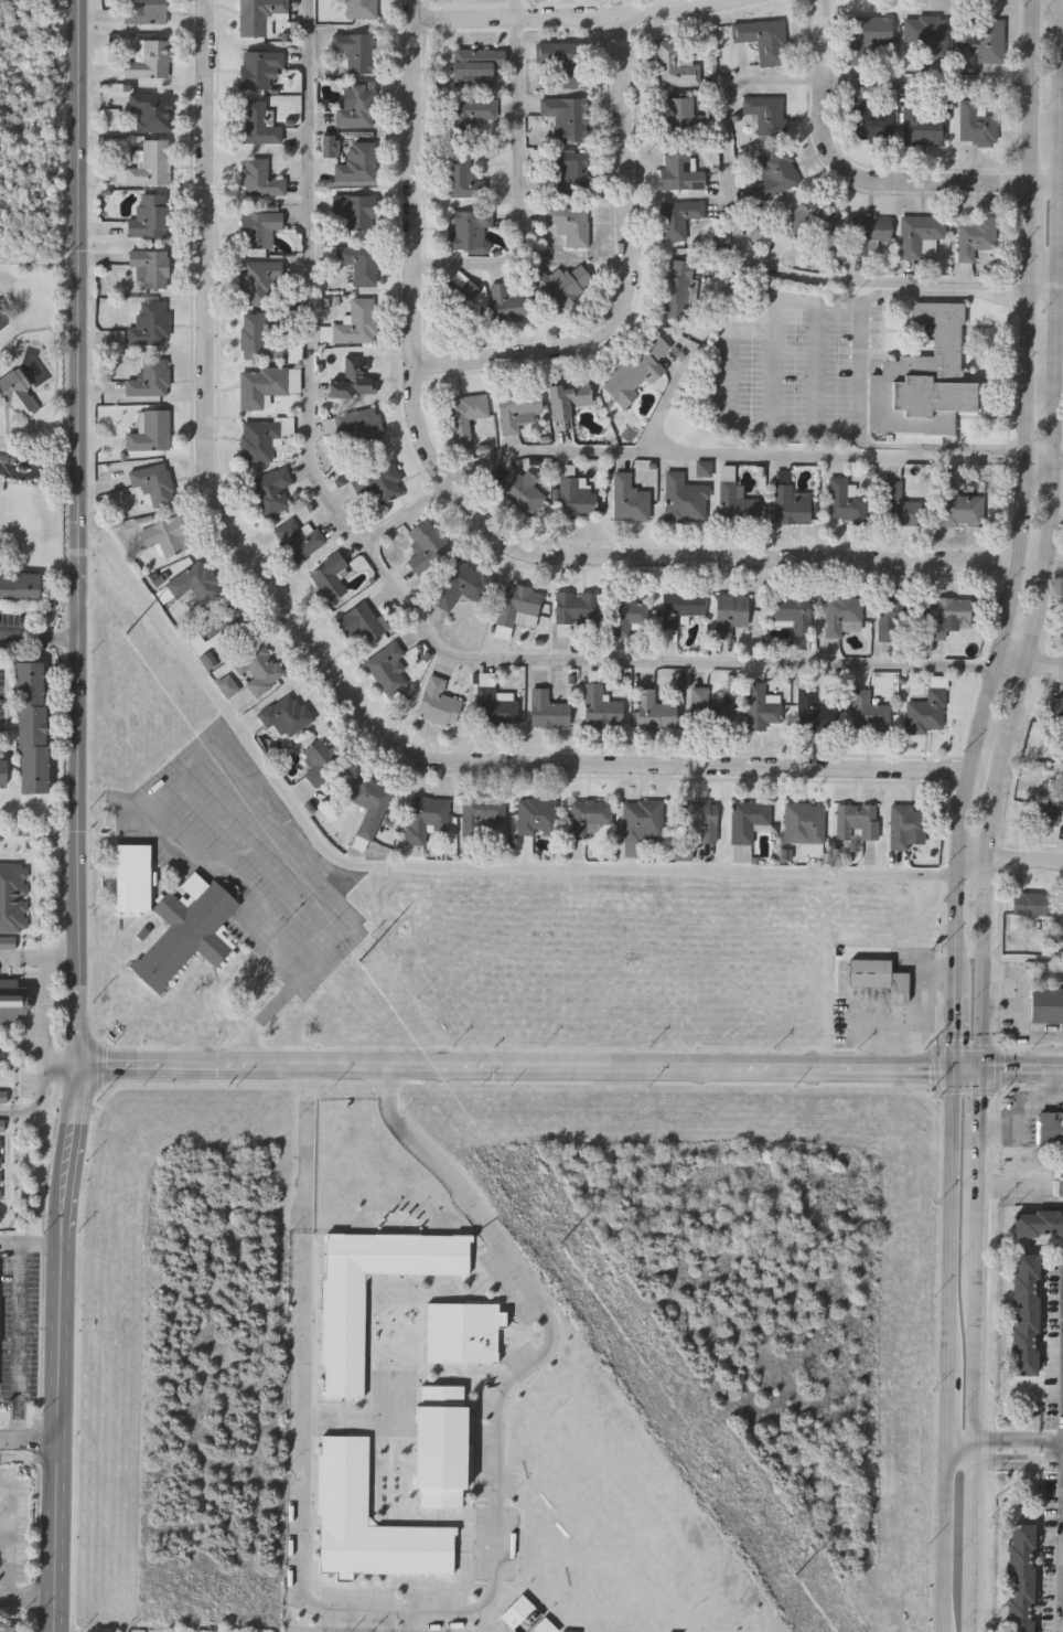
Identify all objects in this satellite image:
road: (1050, 0)
building: (359, 8)
building: (144, 11)
building: (259, 15)
road: (577, 15)
building: (866, 35)
building: (924, 36)
building: (981, 36)
building: (762, 39)
building: (355, 51)
building: (149, 60)
building: (559, 62)
building: (673, 64)
building: (474, 65)
building: (257, 66)
road: (932, 81)
road: (1034, 100)
building: (355, 106)
building: (150, 109)
building: (470, 111)
building: (677, 113)
building: (764, 114)
building: (565, 117)
building: (869, 120)
building: (257, 122)
building: (921, 124)
building: (975, 124)
building: (356, 162)
building: (150, 163)
building: (568, 172)
building: (678, 172)
building: (776, 173)
building: (461, 175)
building: (258, 178)
road: (524, 178)
road: (866, 181)
building: (354, 212)
building: (149, 215)
building: (677, 218)
building: (806, 218)
building: (569, 224)
building: (257, 228)
building: (469, 231)
building: (867, 234)
building: (919, 234)
building: (974, 236)
road: (1031, 236)
building: (356, 263)
road: (764, 265)
building: (149, 266)
road: (1046, 270)
road: (631, 275)
building: (259, 282)
building: (562, 285)
building: (675, 288)
building: (463, 295)
building: (508, 303)
building: (2, 318)
building: (356, 322)
building: (2, 323)
building: (150, 323)
building: (258, 339)
building: (635, 370)
road: (861, 370)
building: (924, 376)
building: (150, 378)
building: (352, 380)
building: (261, 384)
building: (20, 392)
building: (566, 399)
building: (517, 408)
building: (464, 414)
building: (354, 429)
building: (150, 430)
building: (261, 436)
road: (685, 457)
road: (4, 460)
road: (44, 466)
road: (1044, 472)
building: (153, 482)
building: (379, 482)
building: (519, 489)
building: (269, 491)
building: (575, 497)
building: (684, 498)
building: (629, 499)
building: (844, 501)
building: (734, 503)
building: (791, 504)
building: (900, 505)
building: (962, 509)
road: (484, 524)
building: (164, 536)
building: (297, 537)
building: (425, 545)
road: (1048, 555)
building: (326, 578)
building: (20, 583)
building: (189, 584)
building: (462, 584)
road: (404, 596)
building: (679, 606)
building: (575, 607)
building: (516, 608)
building: (793, 610)
building: (729, 612)
building: (626, 614)
building: (841, 614)
building: (946, 614)
building: (898, 618)
building: (361, 621)
building: (225, 626)
power tower: (118, 629)
road: (1006, 632)
road: (25, 637)
road: (65, 640)
road: (329, 659)
road: (1031, 665)
building: (386, 666)
building: (257, 668)
building: (437, 702)
building: (494, 706)
building: (600, 706)
building: (761, 706)
building: (1056, 708)
building: (547, 710)
building: (707, 710)
building: (654, 711)
building: (926, 711)
building: (867, 712)
building: (284, 714)
building: (819, 716)
building: (32, 725)
building: (319, 761)
building: (3, 774)
building: (369, 802)
road: (278, 812)
building: (1042, 812)
building: (481, 813)
road: (78, 815)
building: (537, 815)
building: (589, 815)
building: (426, 818)
building: (642, 819)
building: (697, 819)
building: (748, 819)
building: (856, 820)
building: (804, 822)
building: (904, 824)
road: (1010, 857)
road: (430, 867)
building: (132, 877)
building: (13, 897)
building: (1029, 903)
road: (249, 908)
building: (186, 934)
power tower: (344, 946)
road: (49, 953)
road: (10, 957)
building: (869, 971)
building: (899, 985)
building: (11, 1002)
road: (1021, 1002)
building: (1046, 1004)
road: (47, 1009)
road: (954, 1030)
road: (62, 1065)
traffic signals: (953, 1068)
road: (967, 1068)
traffic signals: (981, 1068)
road: (1021, 1068)
road: (514, 1069)
road: (42, 1097)
road: (1021, 1105)
road: (7, 1111)
building: (1050, 1128)
road: (311, 1150)
road: (425, 1152)
road: (979, 1169)
building: (0, 1171)
building: (1062, 1171)
road: (1021, 1174)
building: (1039, 1222)
road: (952, 1223)
road: (30, 1244)
power tower: (560, 1251)
building: (1026, 1312)
building: (462, 1330)
building: (344, 1334)
road: (20, 1341)
road: (949, 1414)
road: (1007, 1438)
road: (28, 1439)
road: (1053, 1439)
building: (440, 1444)
road: (962, 1449)
road: (974, 1451)
road: (1007, 1461)
road: (1053, 1461)
building: (342, 1484)
road: (11, 1537)
road: (947, 1540)
power tower: (787, 1572)
building: (1020, 1577)
road: (28, 1596)
road: (427, 1617)
building: (6, 1628)

